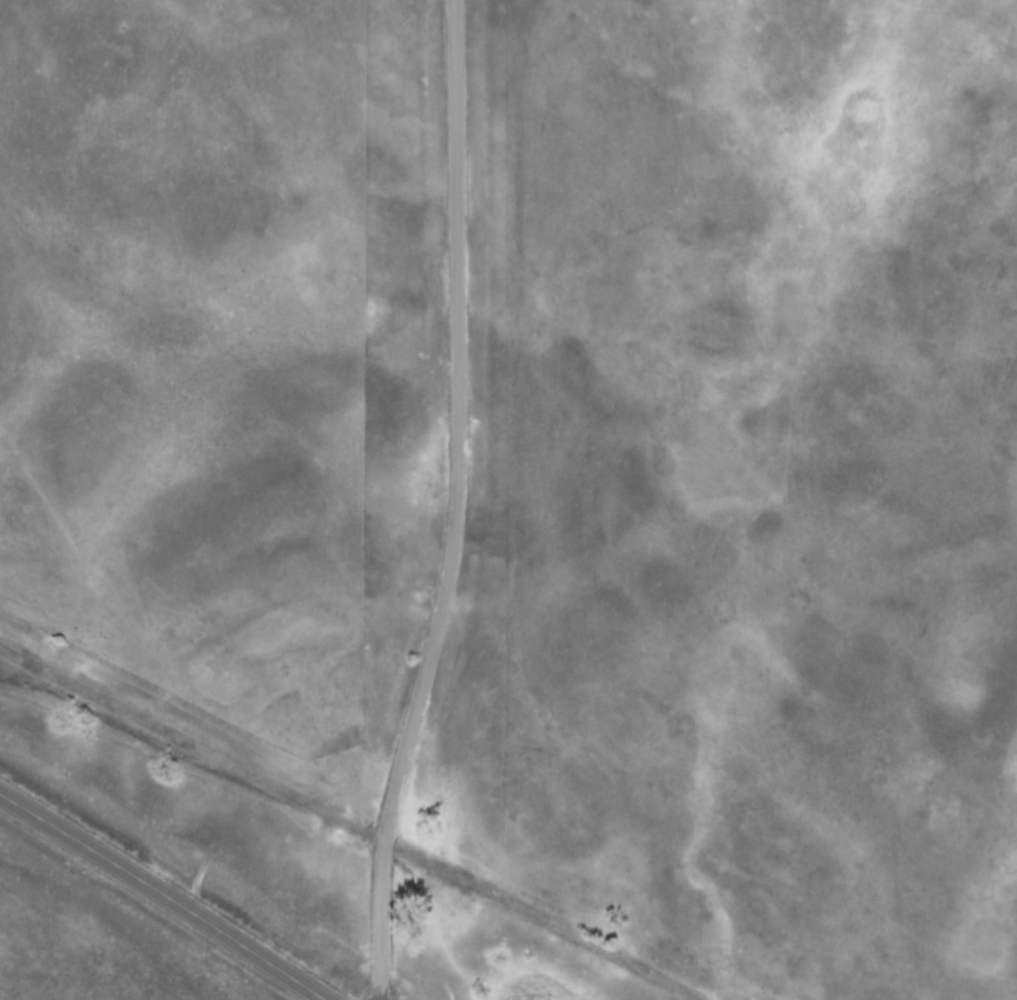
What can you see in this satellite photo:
road: (458, 504)
road: (168, 892)

